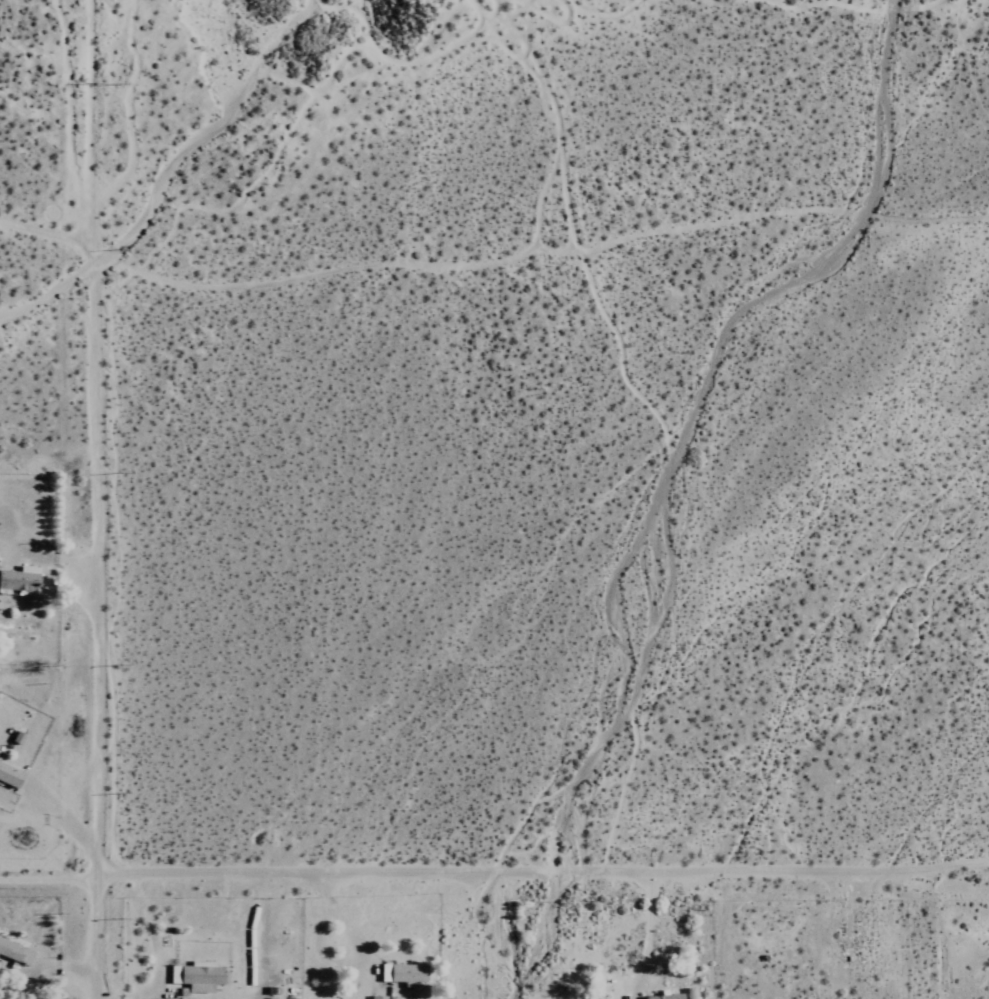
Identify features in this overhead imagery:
road: (82, 99)
road: (90, 598)
road: (540, 877)
road: (46, 878)

